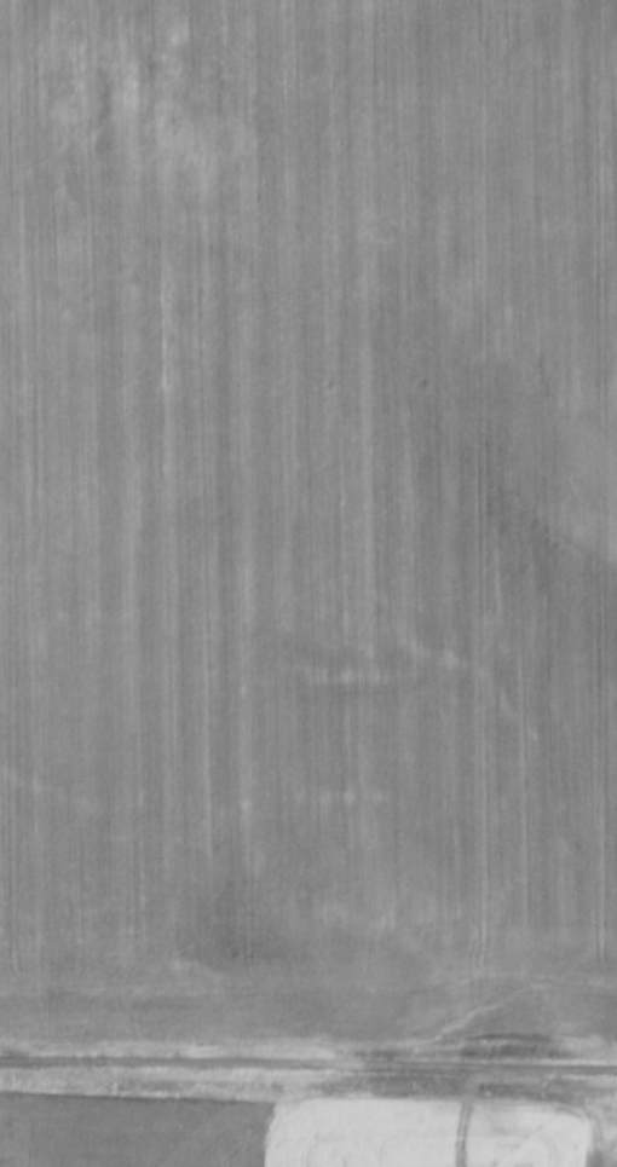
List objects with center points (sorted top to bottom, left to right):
road: (307, 1069)

